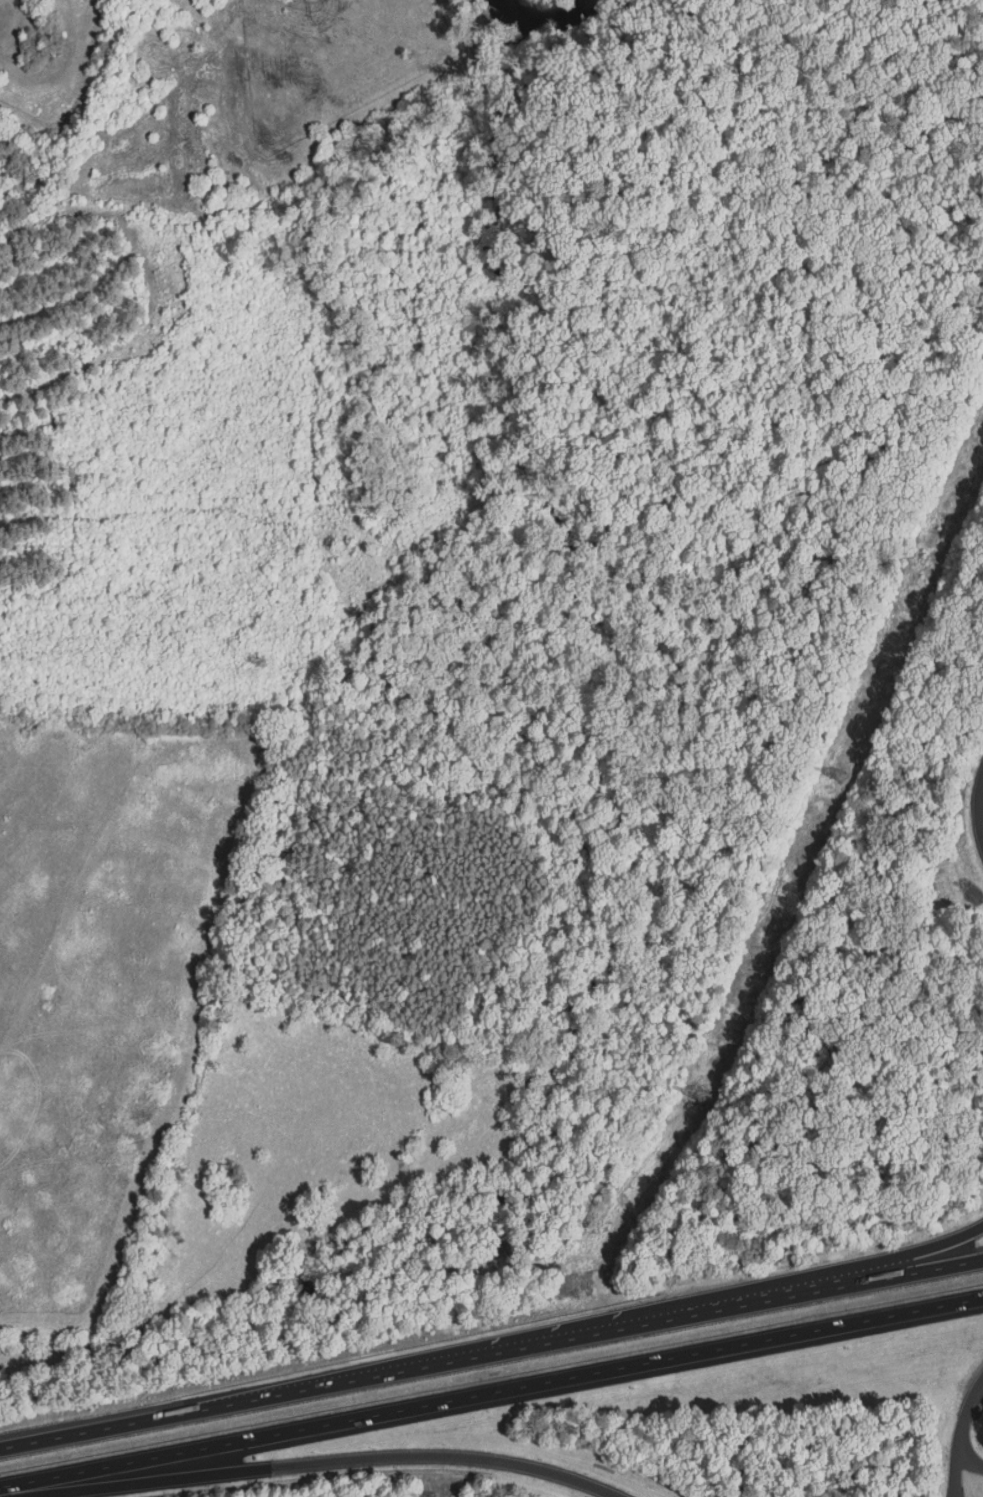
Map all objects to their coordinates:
road: (980, 810)
road: (729, 1297)
road: (491, 1354)
road: (491, 1393)
road: (968, 1409)
road: (967, 1456)
road: (325, 1461)
road: (957, 1468)
parking lot: (954, 1492)
building: (432, 1495)

